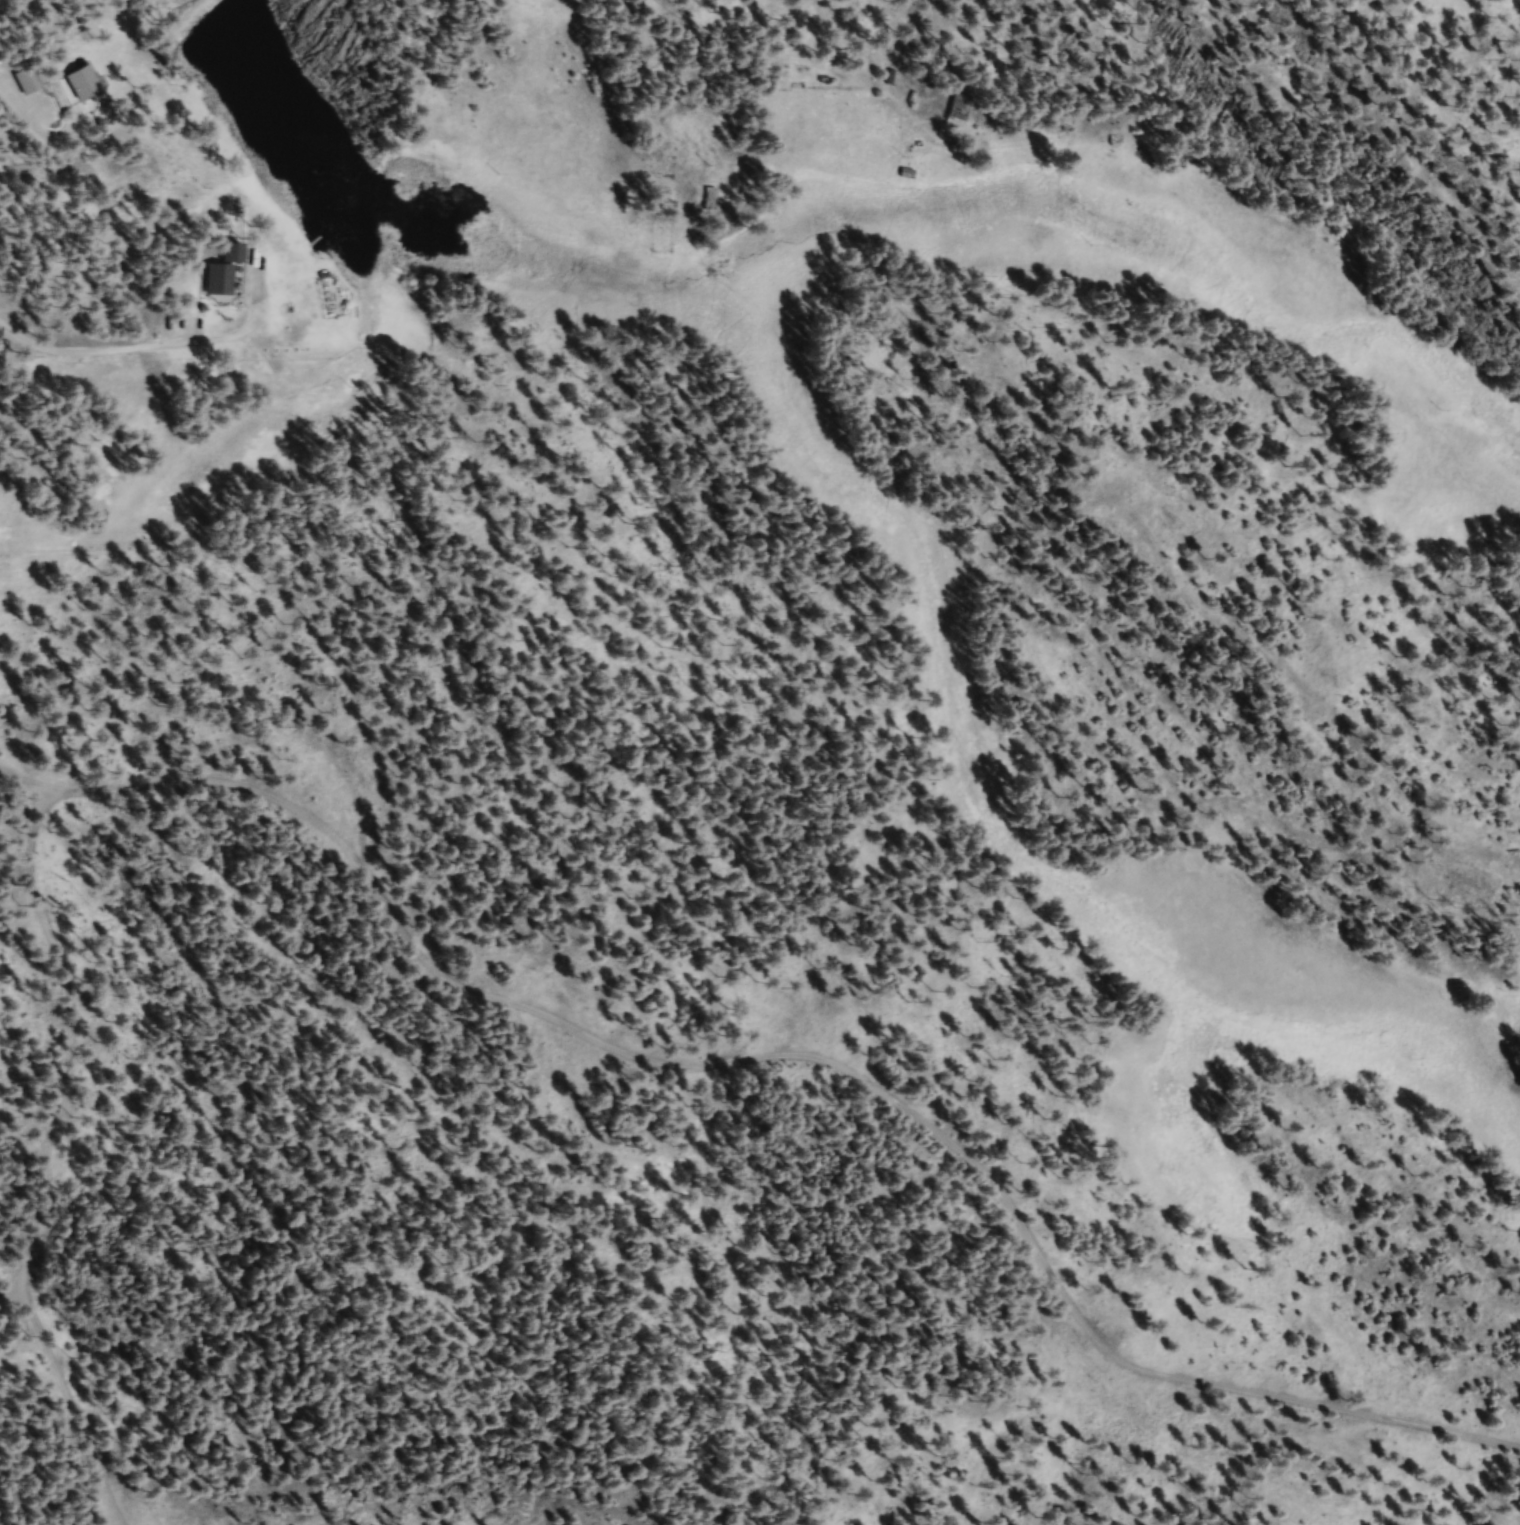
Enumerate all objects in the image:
road: (810, 35)
building: (26, 83)
building: (894, 83)
building: (83, 84)
building: (960, 112)
building: (908, 177)
building: (711, 201)
building: (221, 273)
road: (780, 1053)
road: (42, 1158)
road: (11, 1293)

